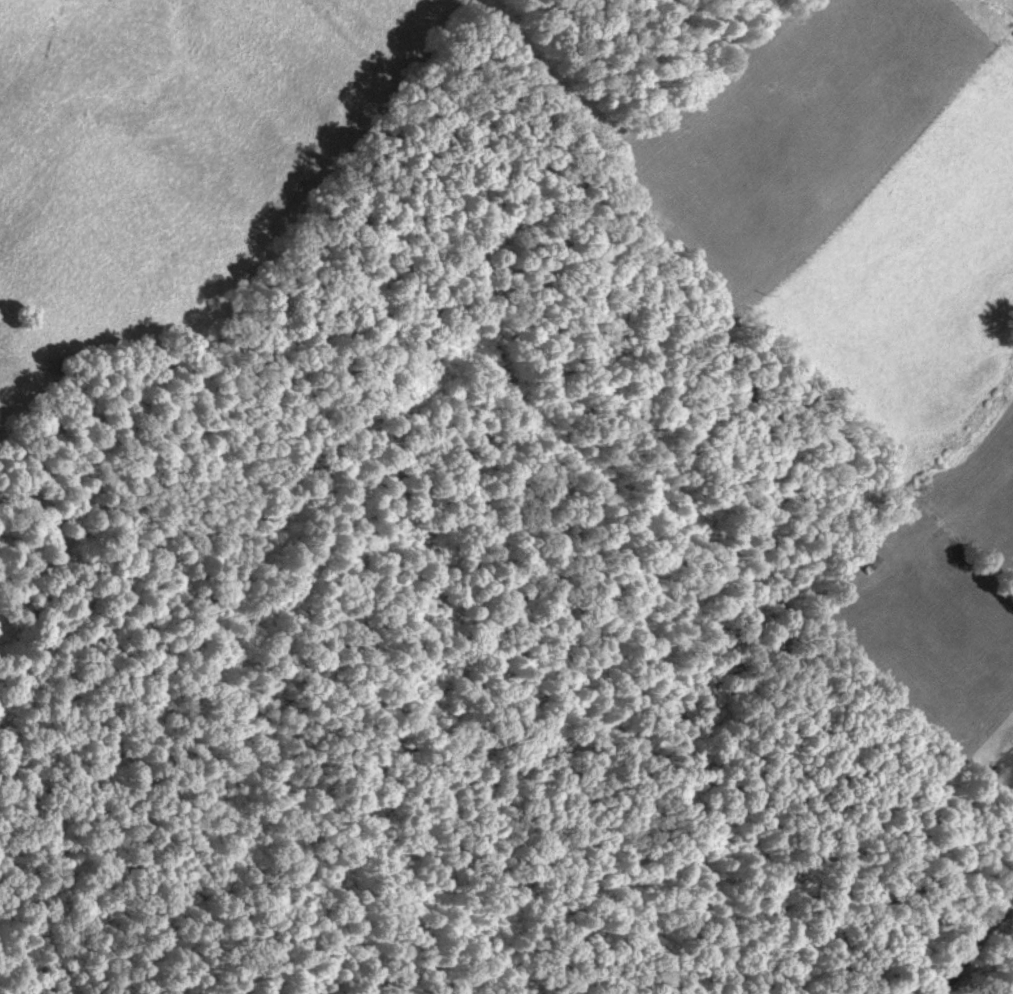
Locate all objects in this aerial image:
road: (971, 937)

